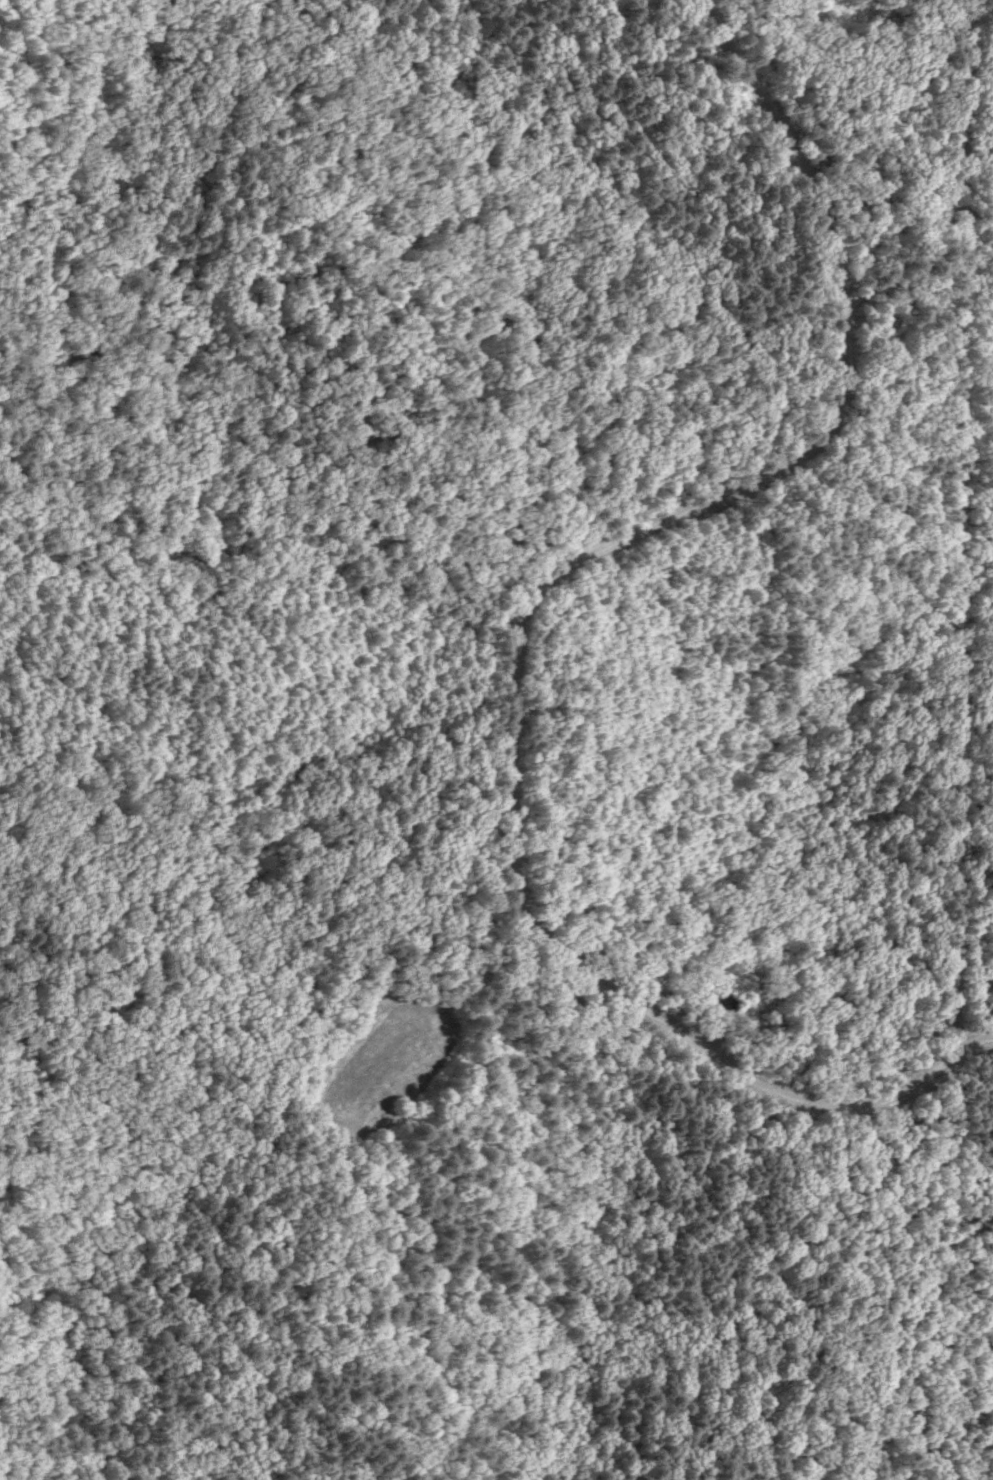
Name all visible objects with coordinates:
road: (516, 627)

